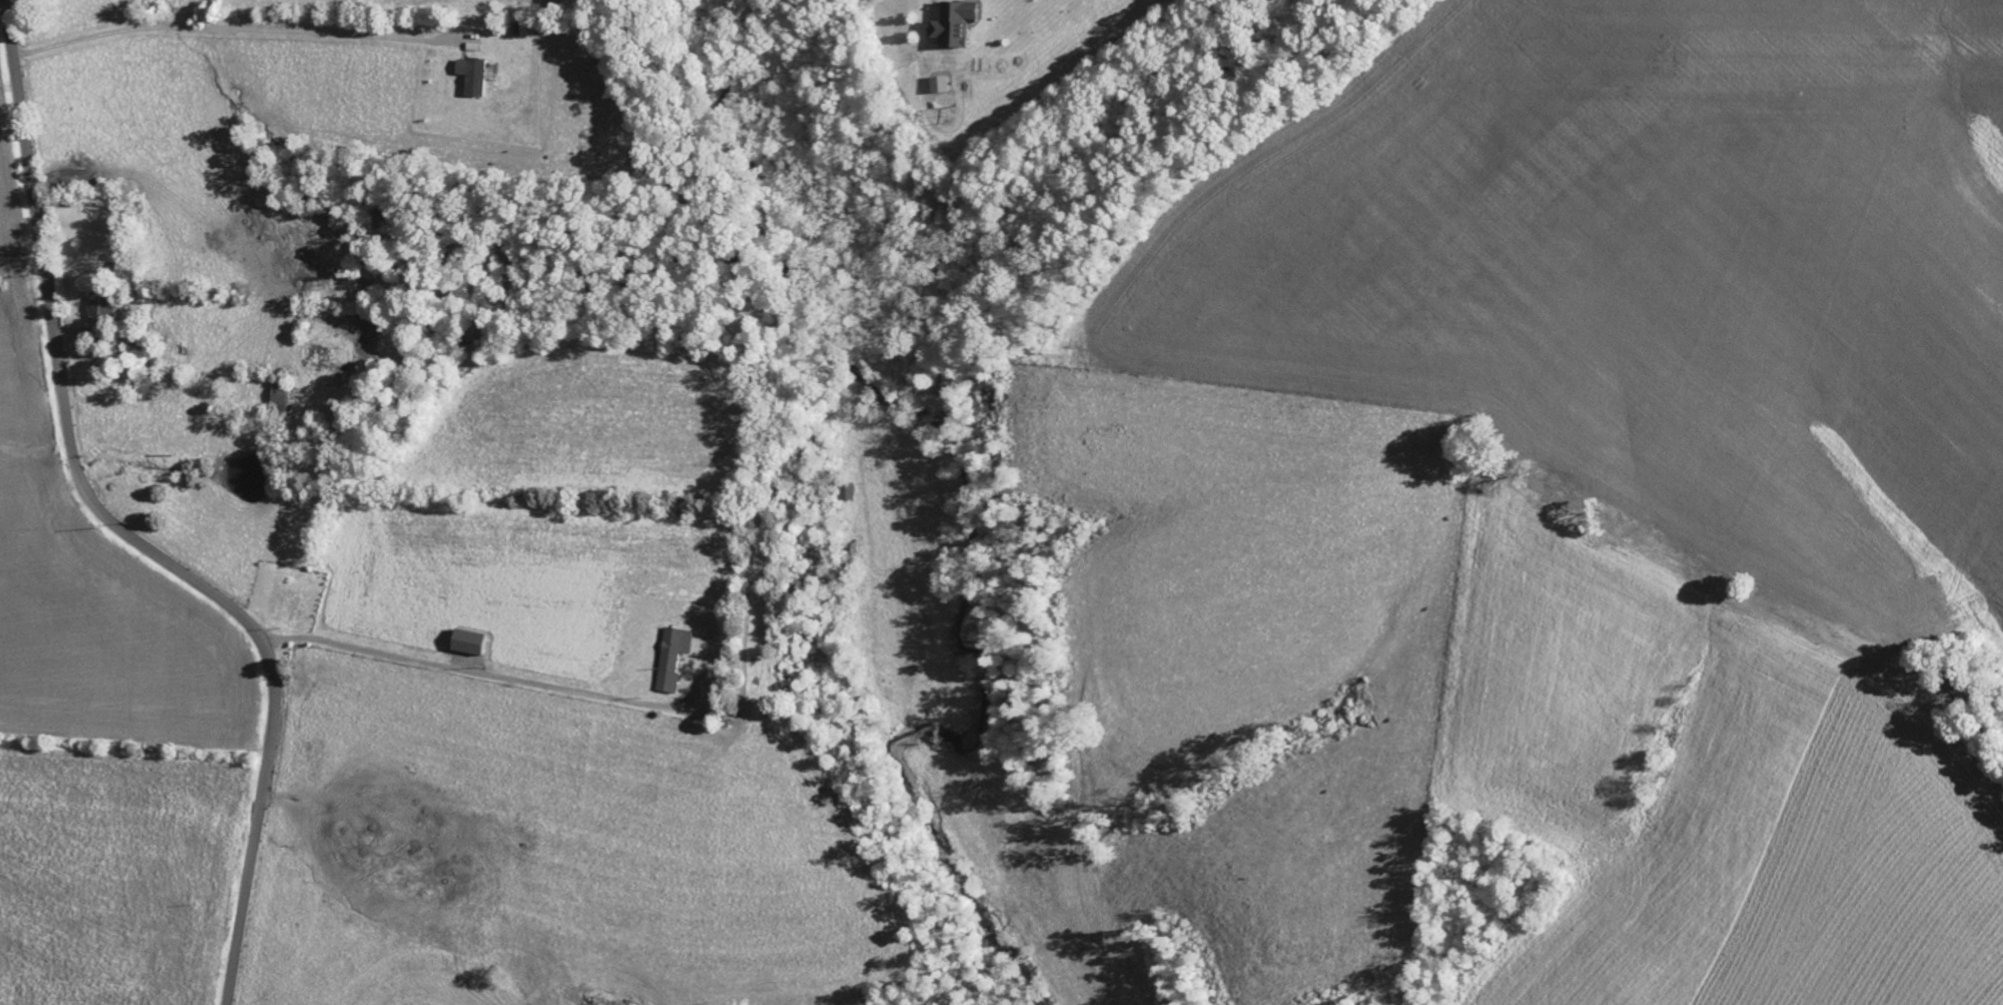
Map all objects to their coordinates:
building: (952, 22)
building: (523, 27)
building: (474, 45)
building: (476, 74)
building: (939, 83)
building: (147, 302)
building: (105, 306)
building: (134, 346)
building: (320, 353)
building: (146, 382)
building: (281, 396)
building: (847, 492)
road: (121, 527)
building: (472, 642)
building: (676, 656)
road: (487, 674)

